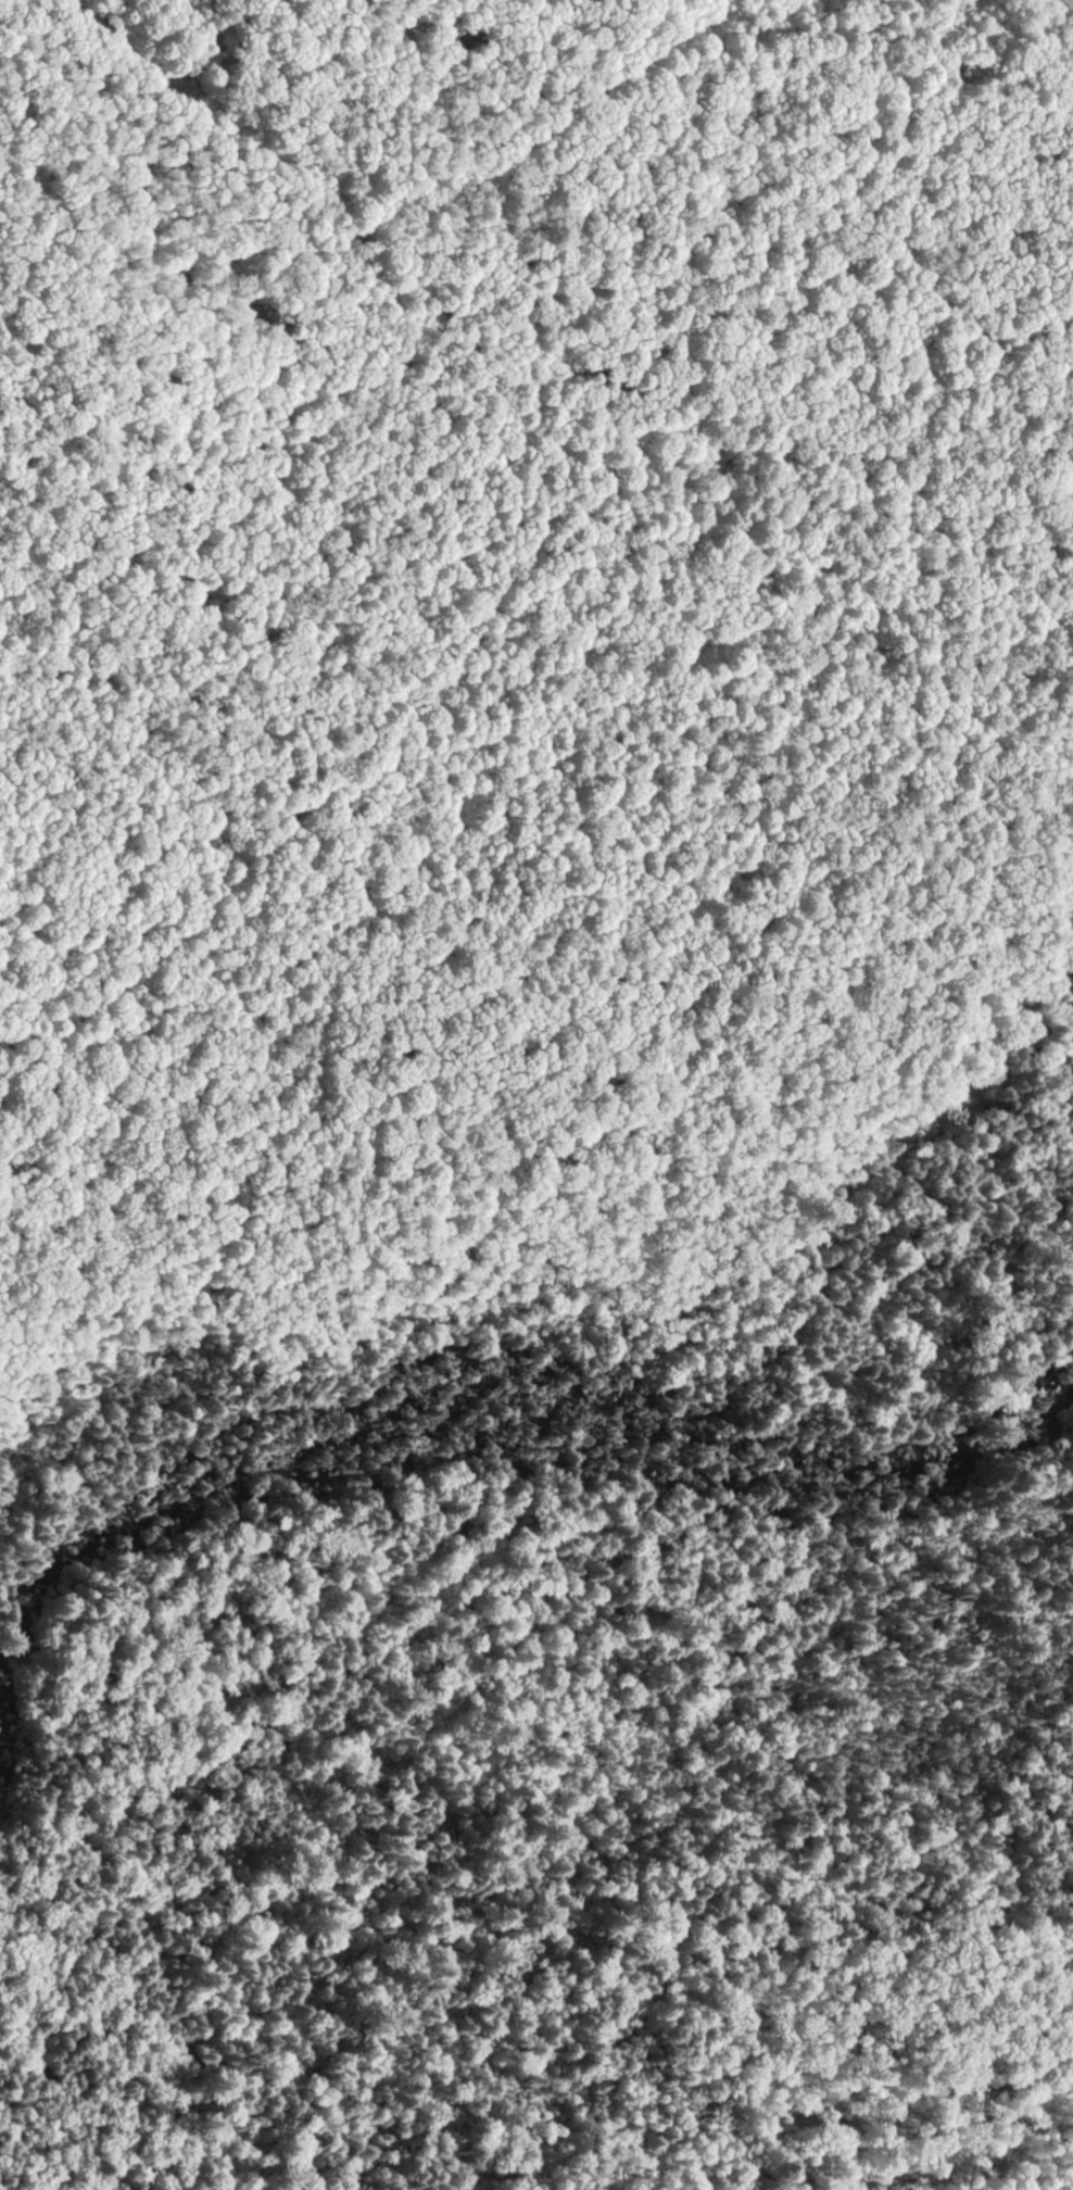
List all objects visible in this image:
road: (962, 105)
road: (460, 247)
road: (233, 499)
road: (450, 644)
river: (497, 1428)

